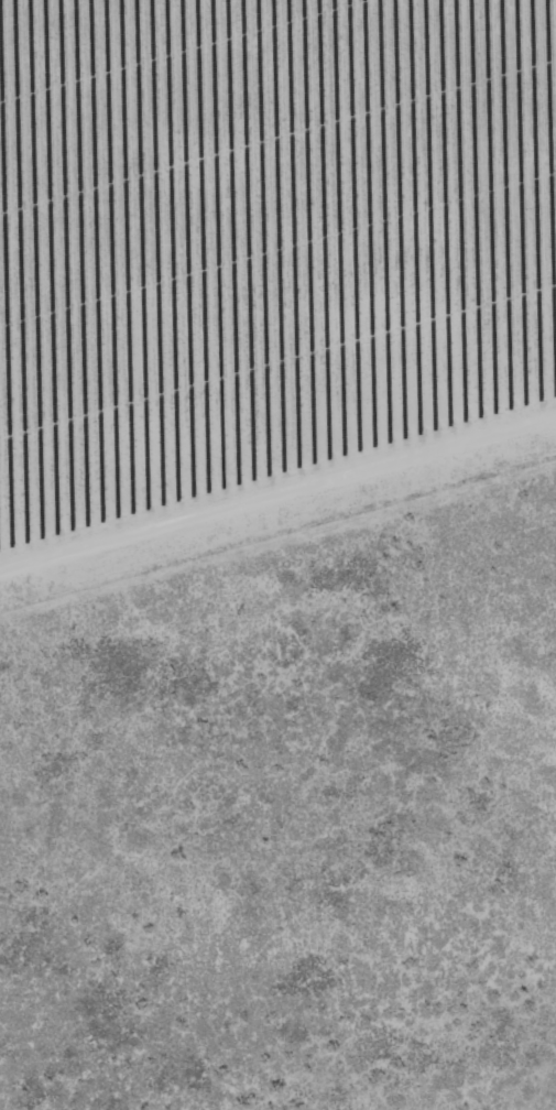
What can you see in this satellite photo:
solar farm: (264, 268)

